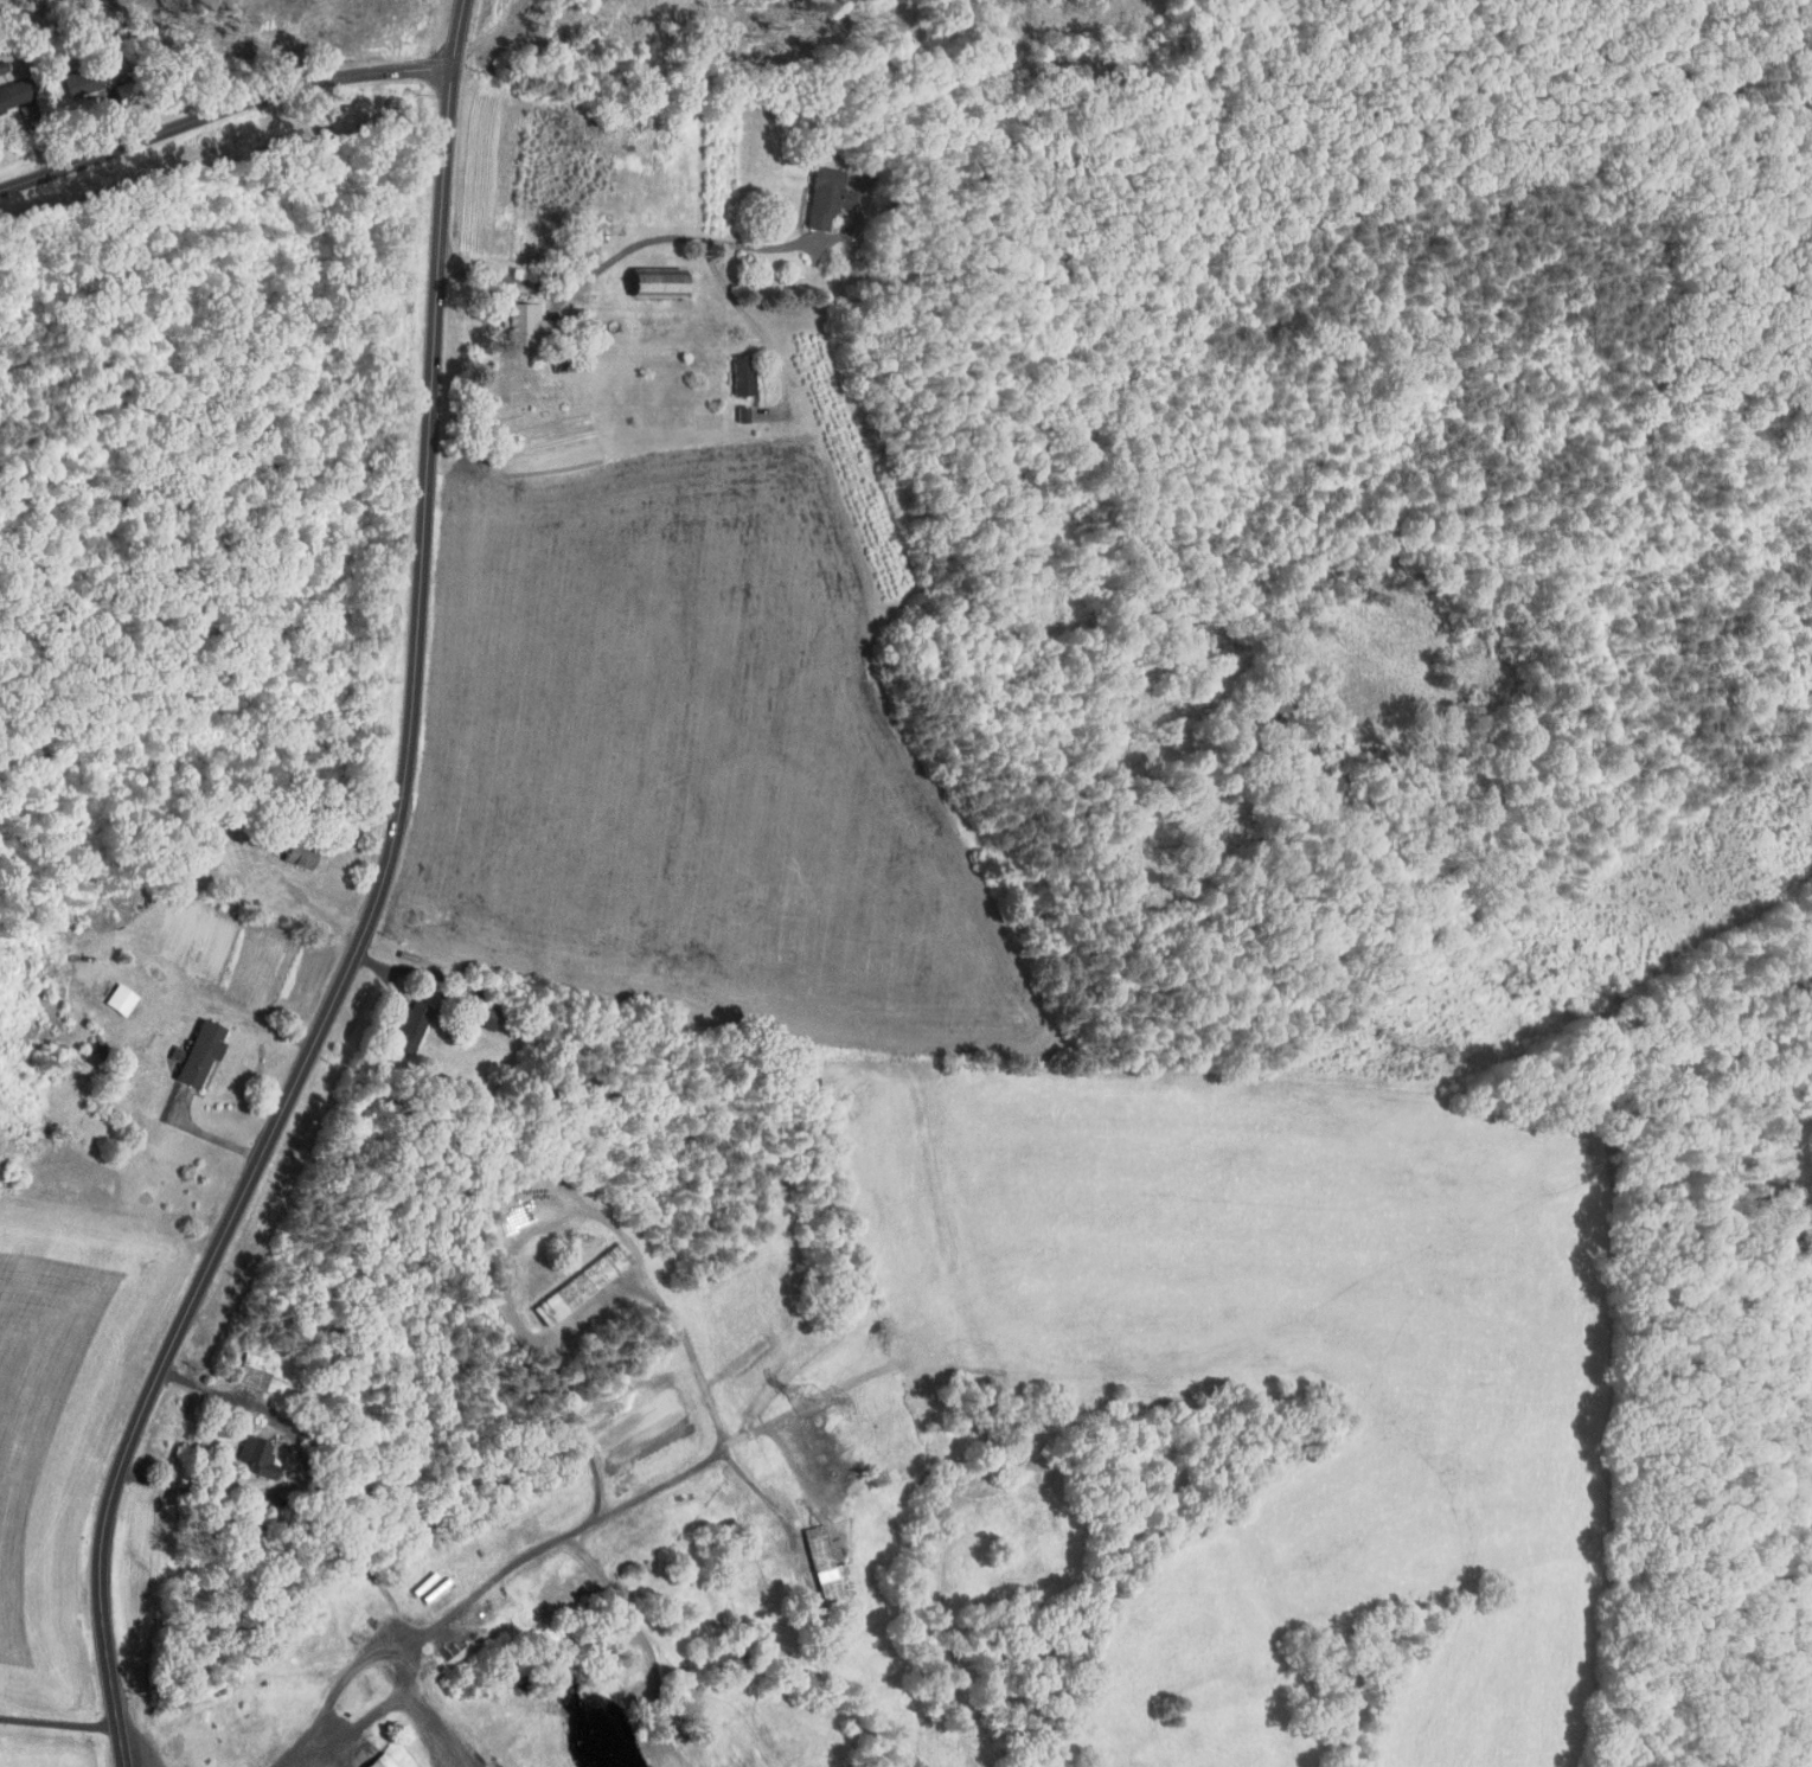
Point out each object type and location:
building: (18, 90)
road: (219, 104)
road: (104, 111)
road: (20, 140)
building: (822, 197)
road: (633, 248)
building: (645, 284)
road: (539, 309)
road: (750, 319)
building: (516, 321)
building: (739, 373)
road: (347, 859)
road: (374, 909)
building: (116, 999)
road: (438, 1011)
building: (406, 1027)
power tower: (1416, 1049)
building: (192, 1054)
road: (242, 1084)
building: (576, 1285)
road: (591, 1308)
road: (673, 1313)
building: (244, 1374)
power tower: (811, 1403)
building: (248, 1457)
road: (303, 1472)
road: (761, 1492)
building: (820, 1564)
road: (397, 1659)
road: (59, 1723)
road: (431, 1726)
road: (296, 1753)
road: (327, 1753)
building: (374, 1760)
road: (329, 1763)

